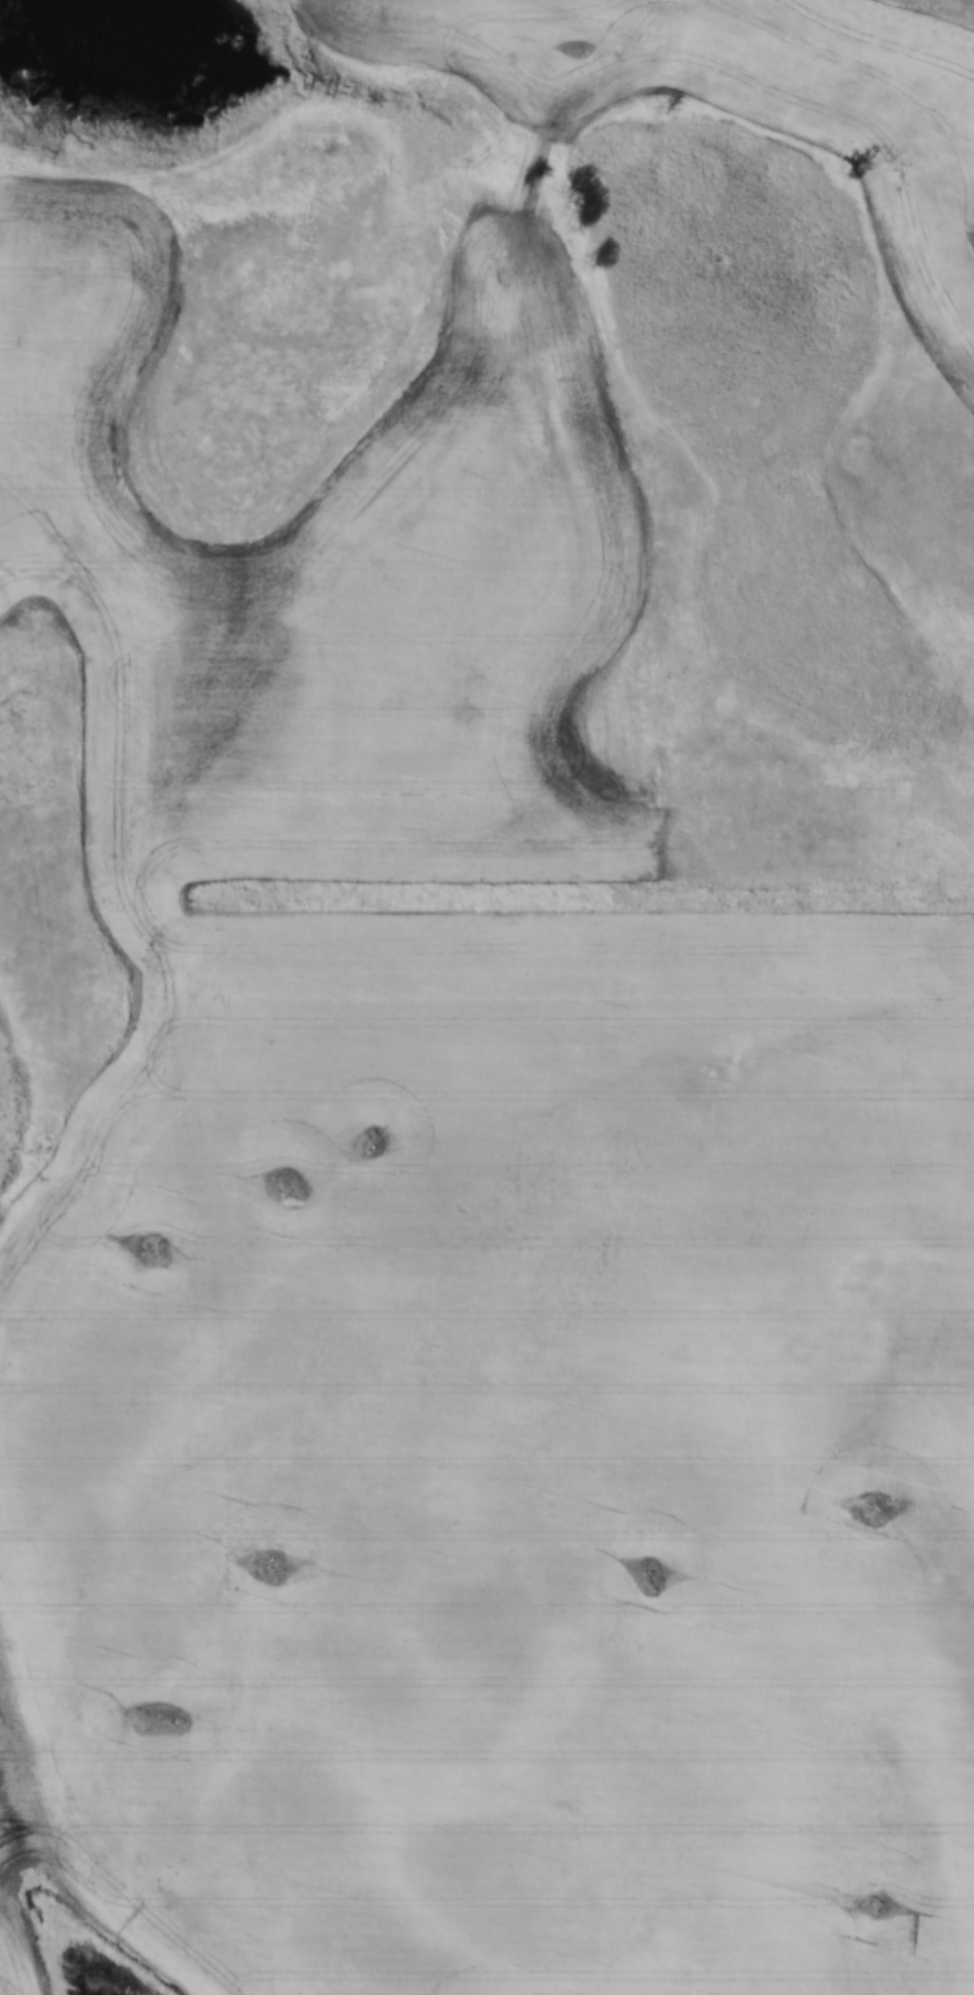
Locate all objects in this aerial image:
road: (410, 944)

